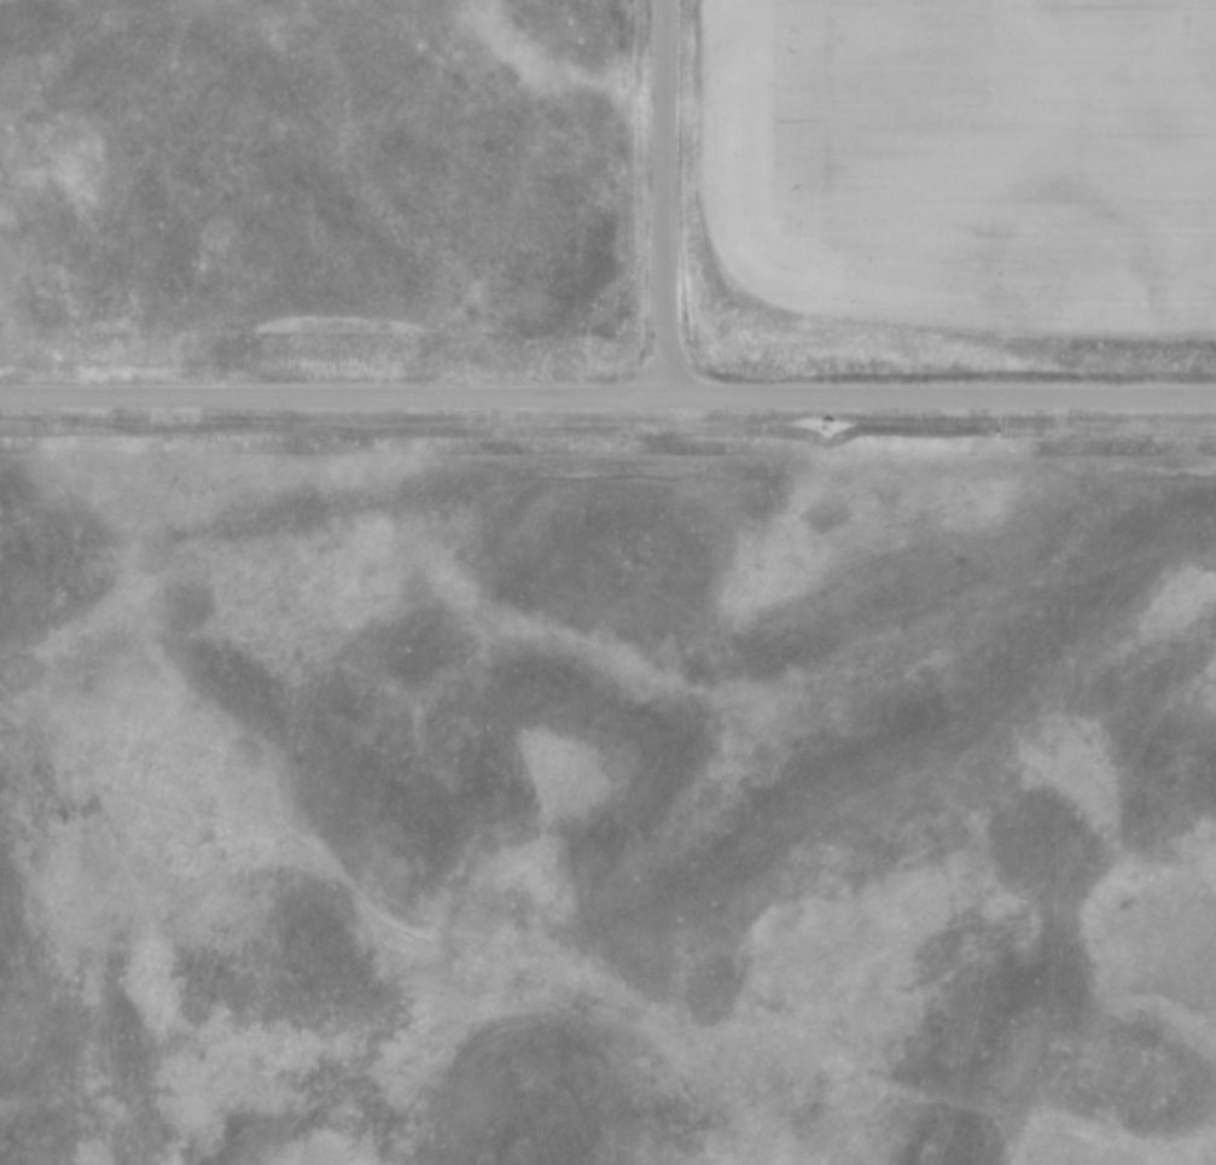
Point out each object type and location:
road: (665, 196)
road: (607, 392)

